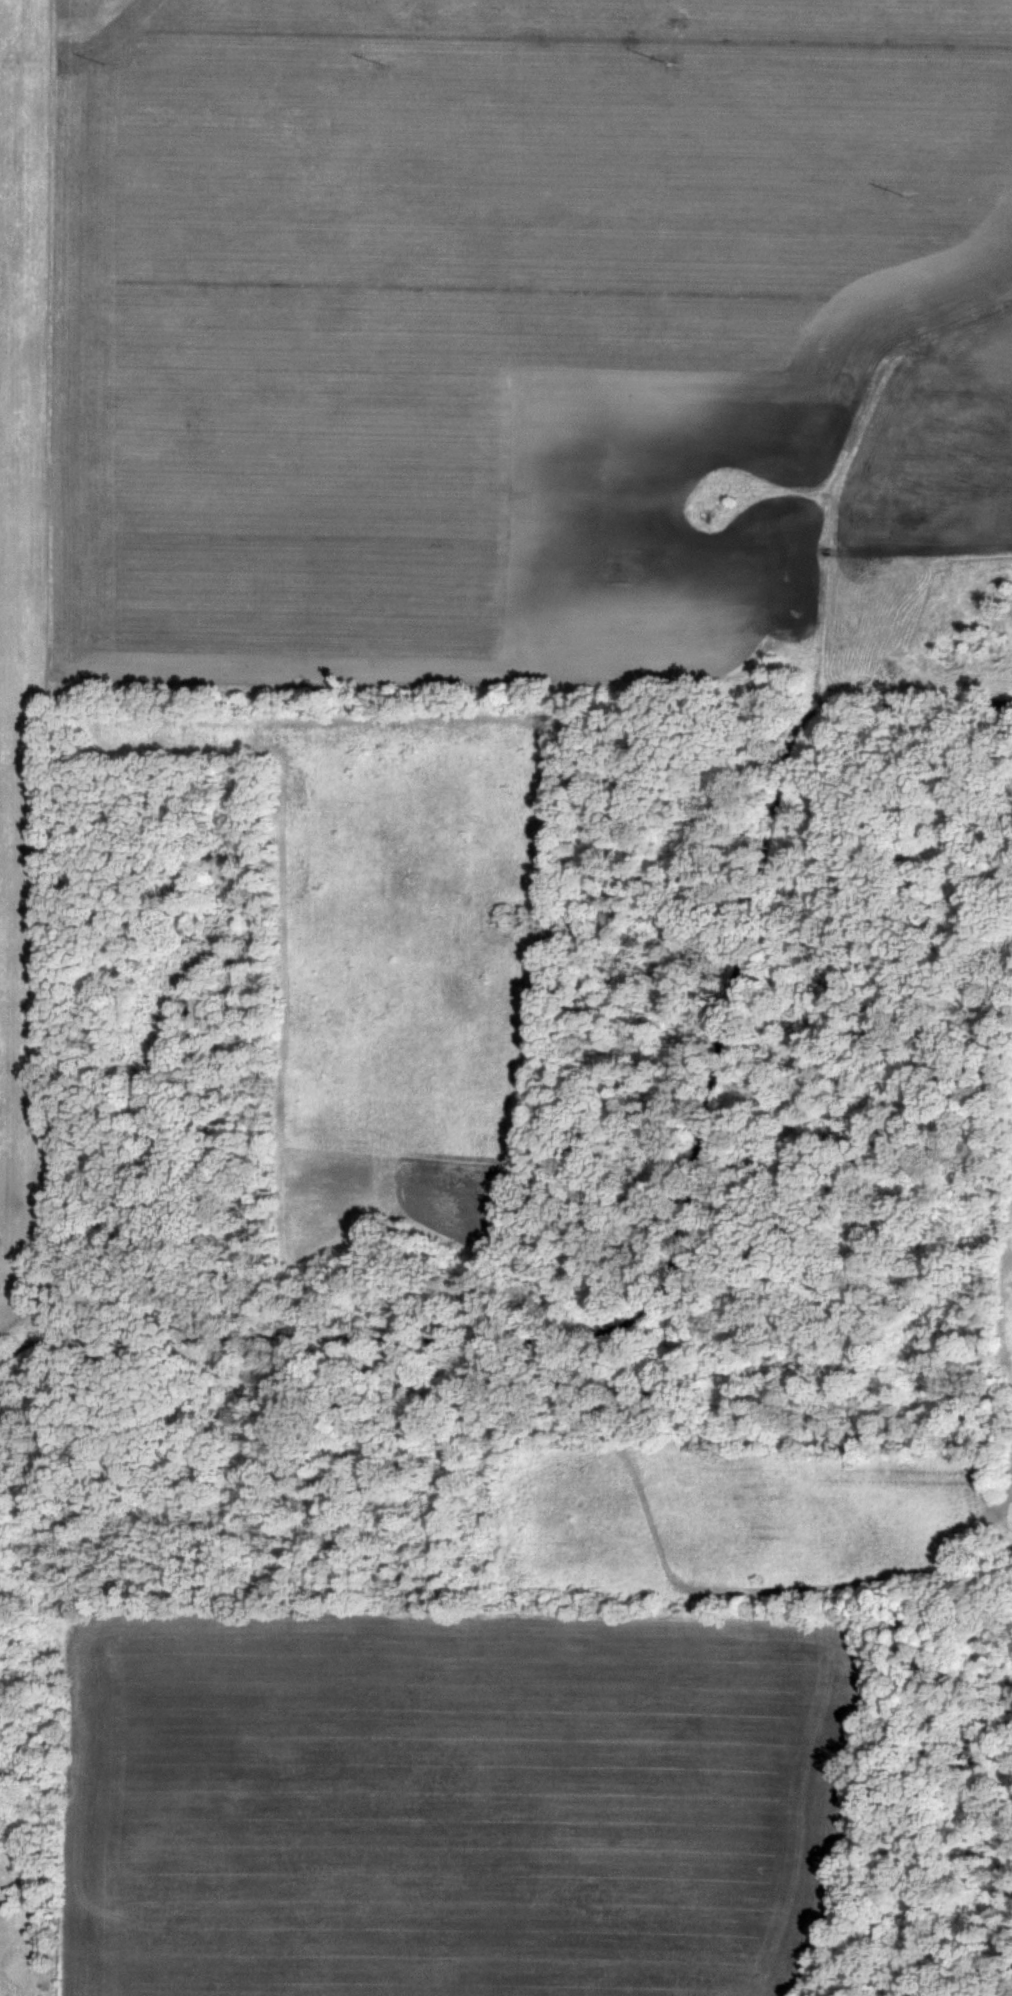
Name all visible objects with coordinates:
power tower: (100, 63)
power tower: (387, 66)
power tower: (672, 66)
power tower: (904, 192)

